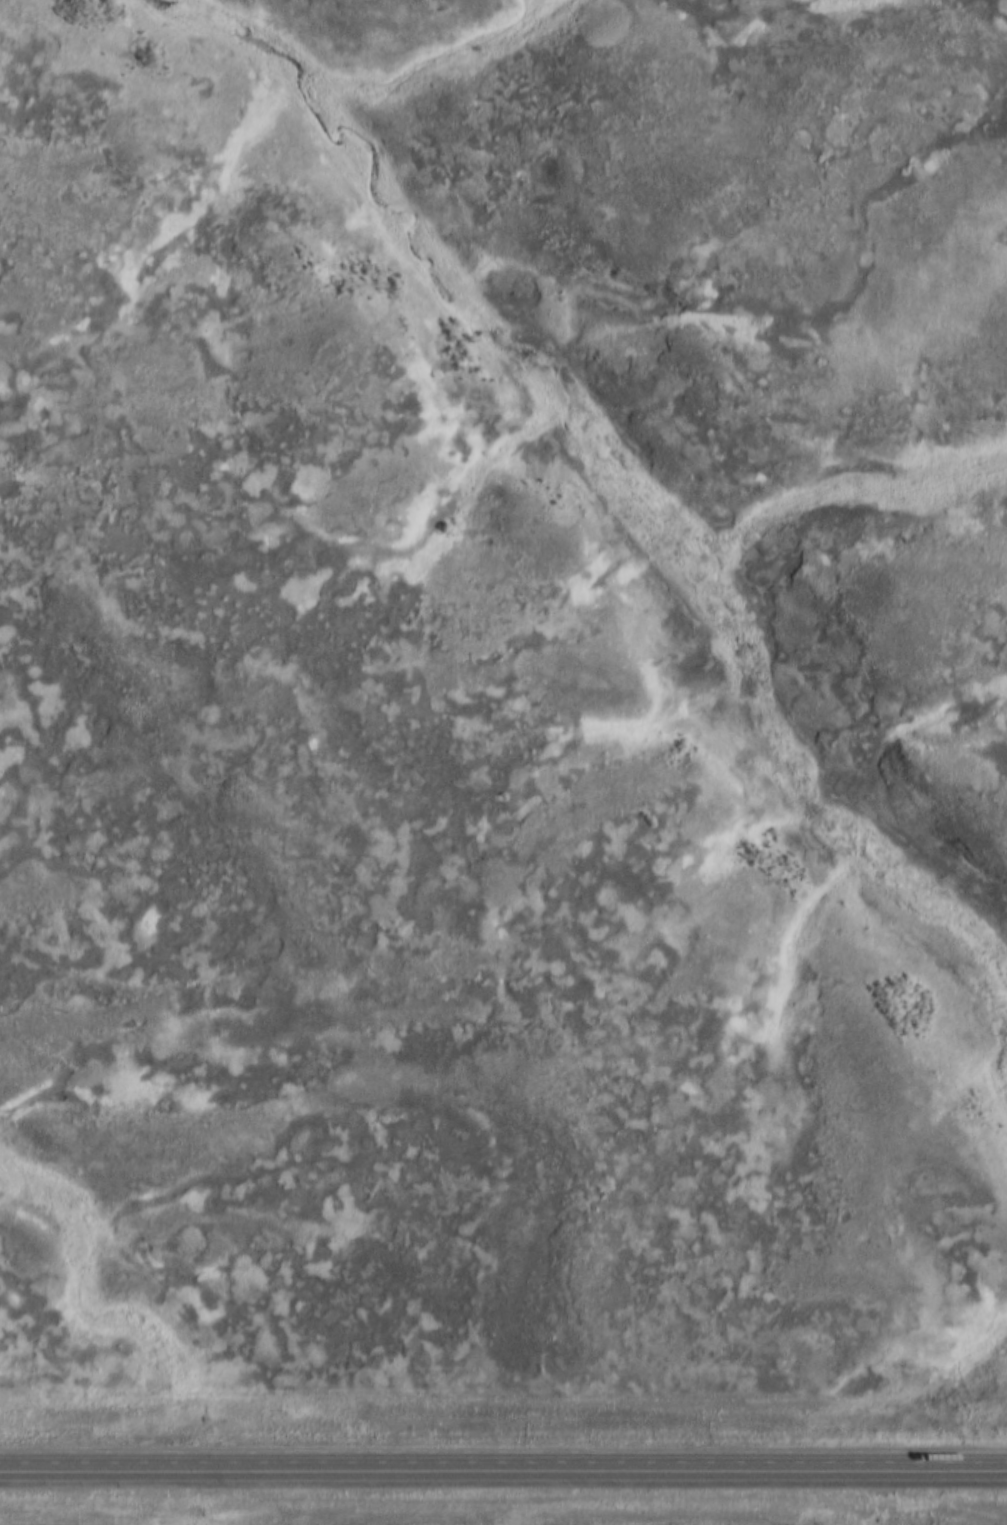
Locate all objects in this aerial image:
road: (503, 1473)

